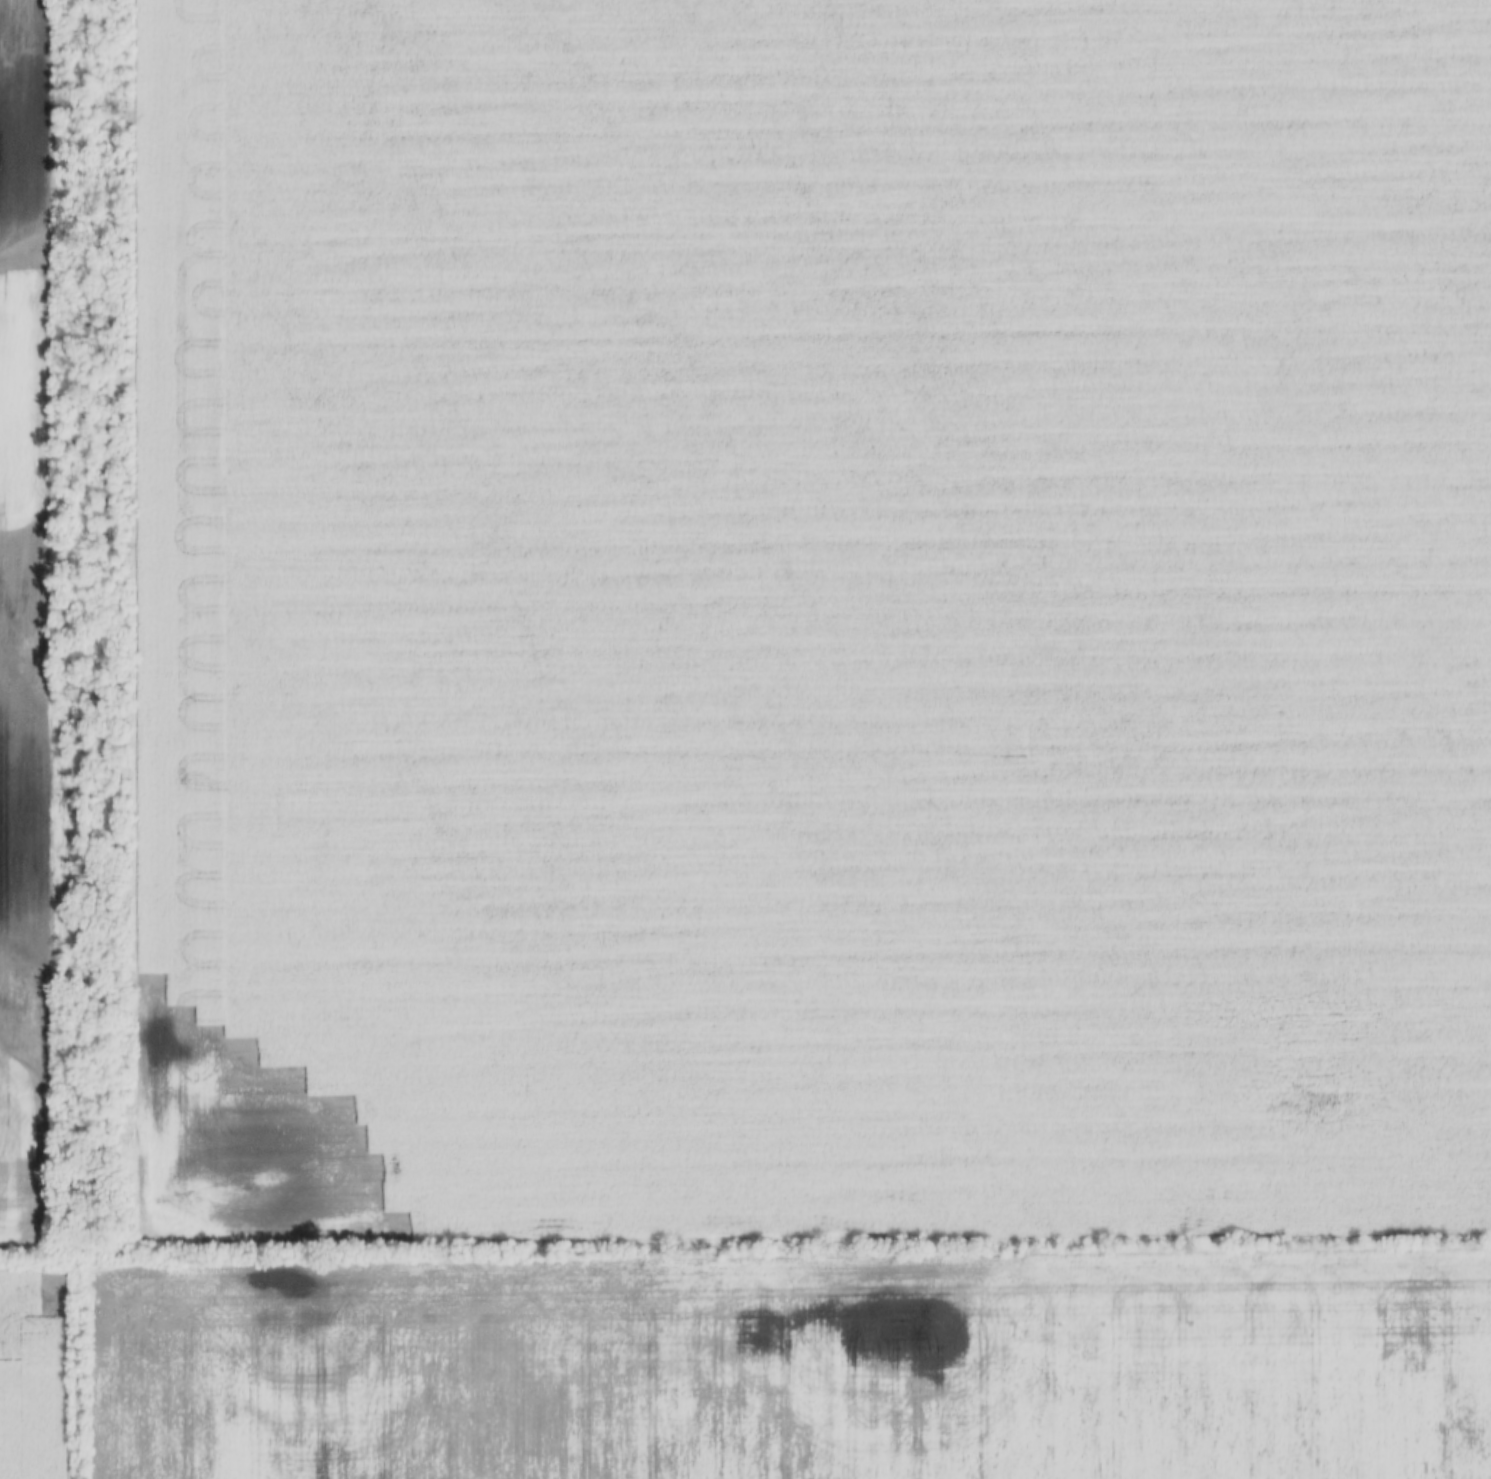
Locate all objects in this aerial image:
road: (54, 6)
road: (847, 1229)

